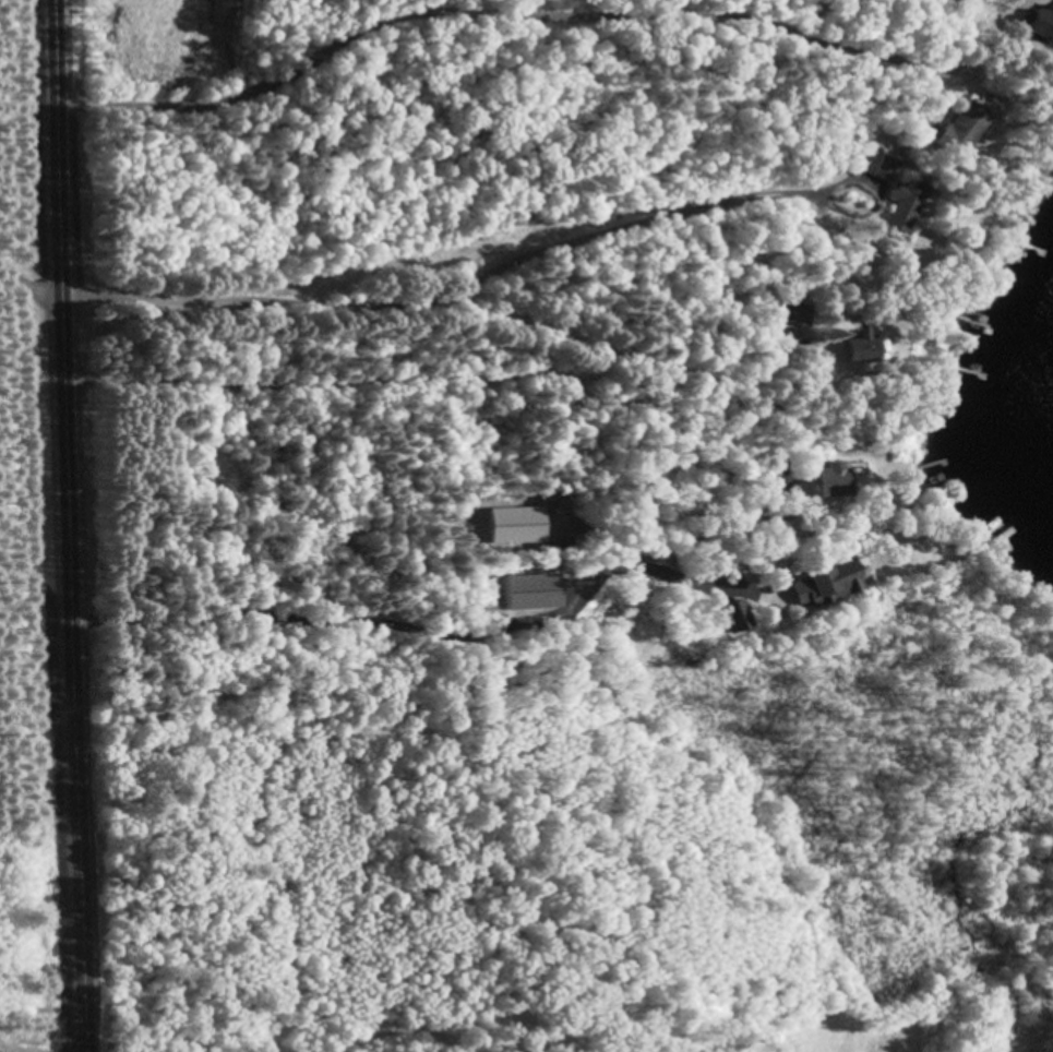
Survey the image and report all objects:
road: (479, 13)
building: (1043, 23)
building: (965, 130)
building: (905, 207)
road: (464, 324)
building: (862, 349)
building: (835, 483)
road: (69, 525)
building: (847, 577)
building: (731, 620)

